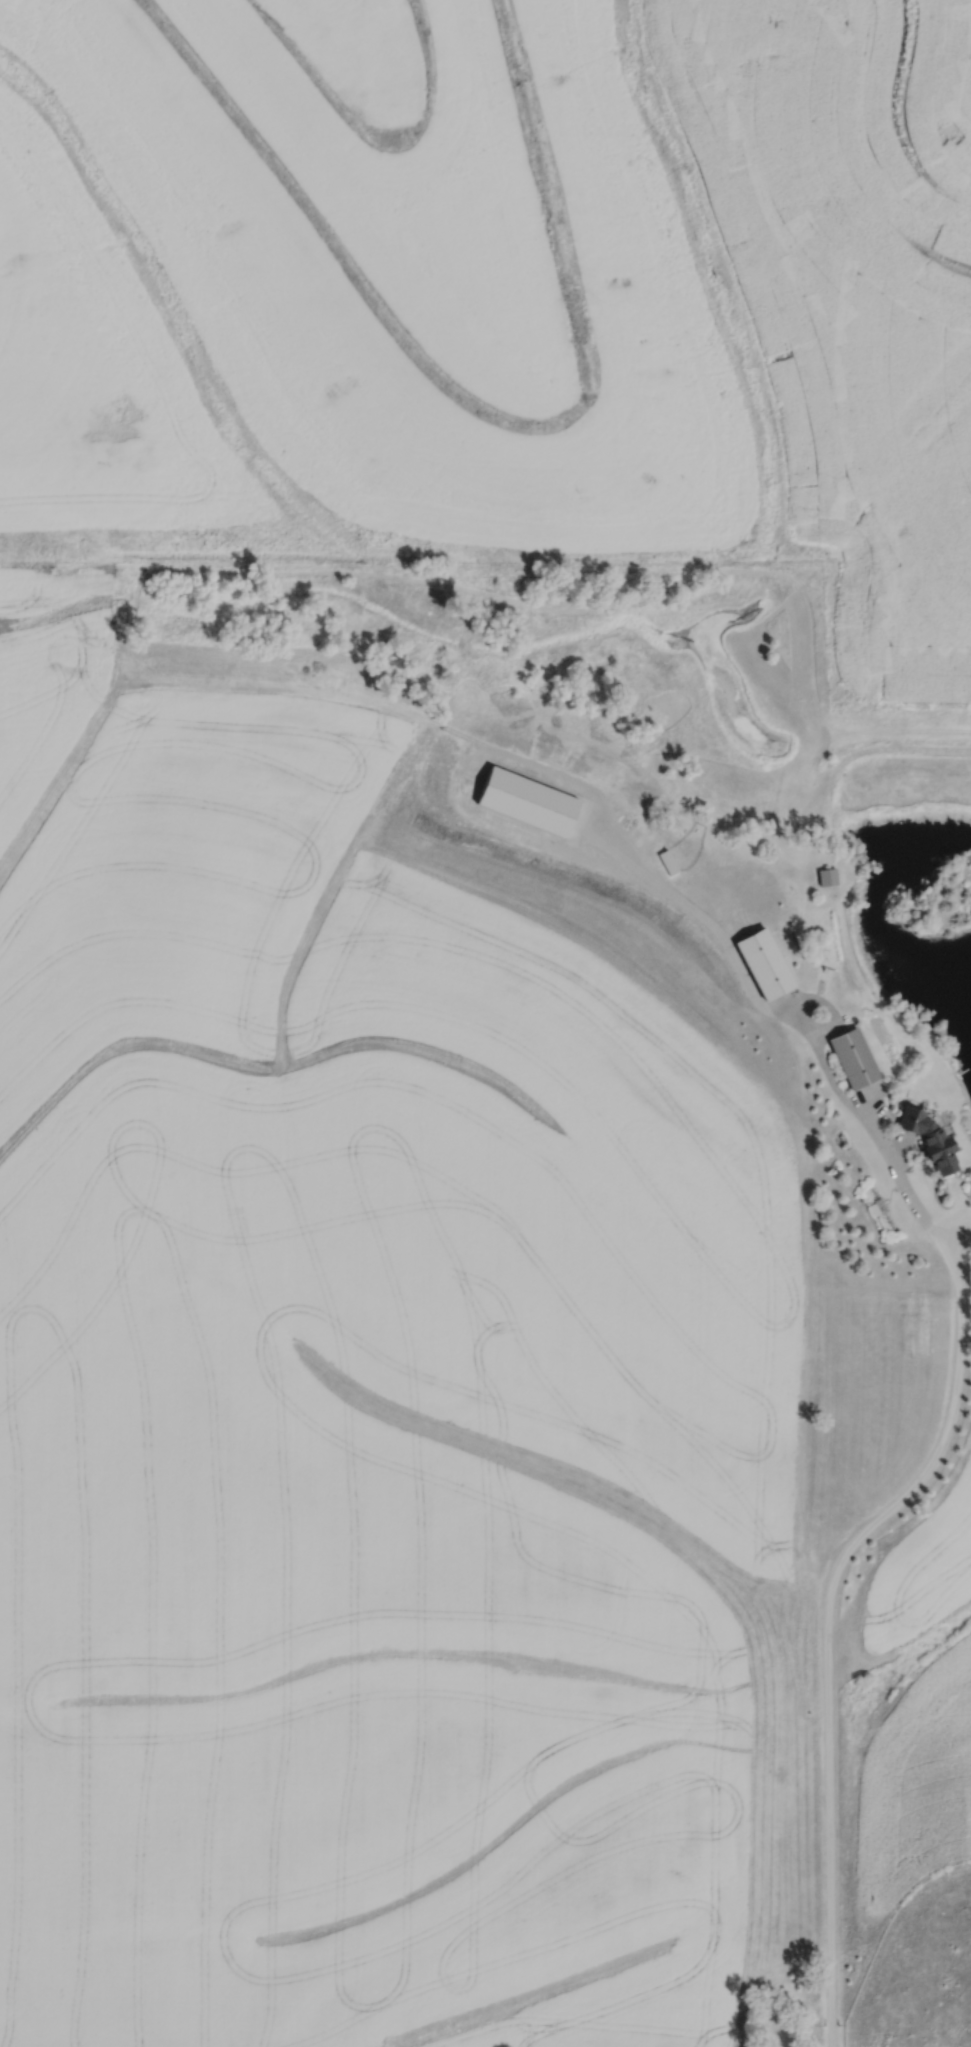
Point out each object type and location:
building: (828, 878)
building: (854, 1057)
building: (930, 1136)
road: (956, 1396)

